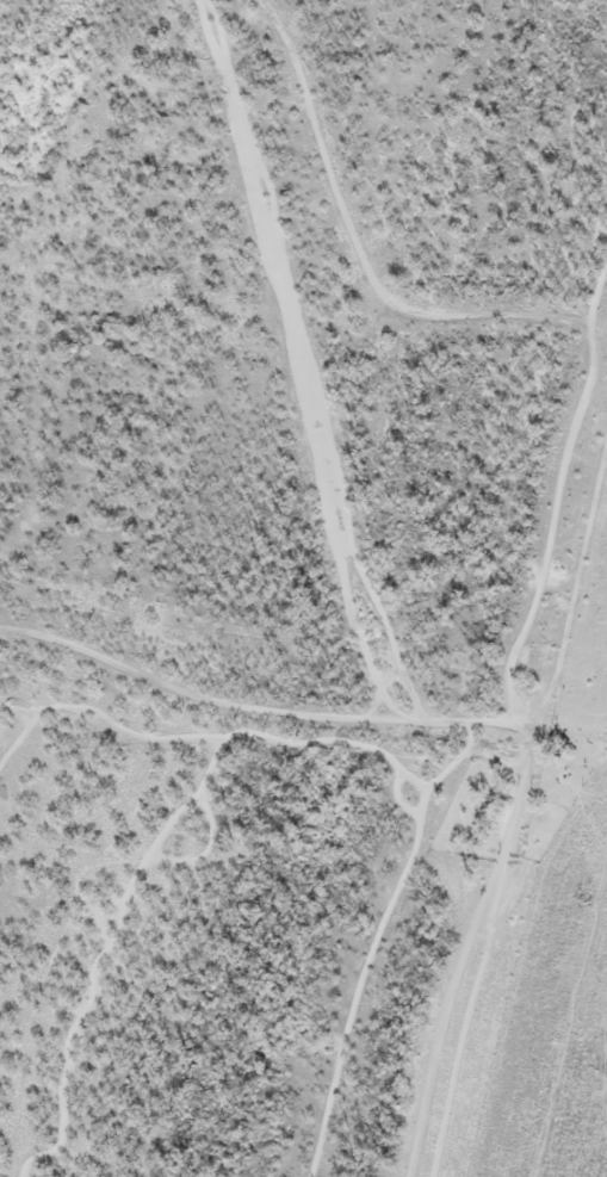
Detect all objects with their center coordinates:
road: (262, 702)
road: (571, 716)
road: (478, 946)

